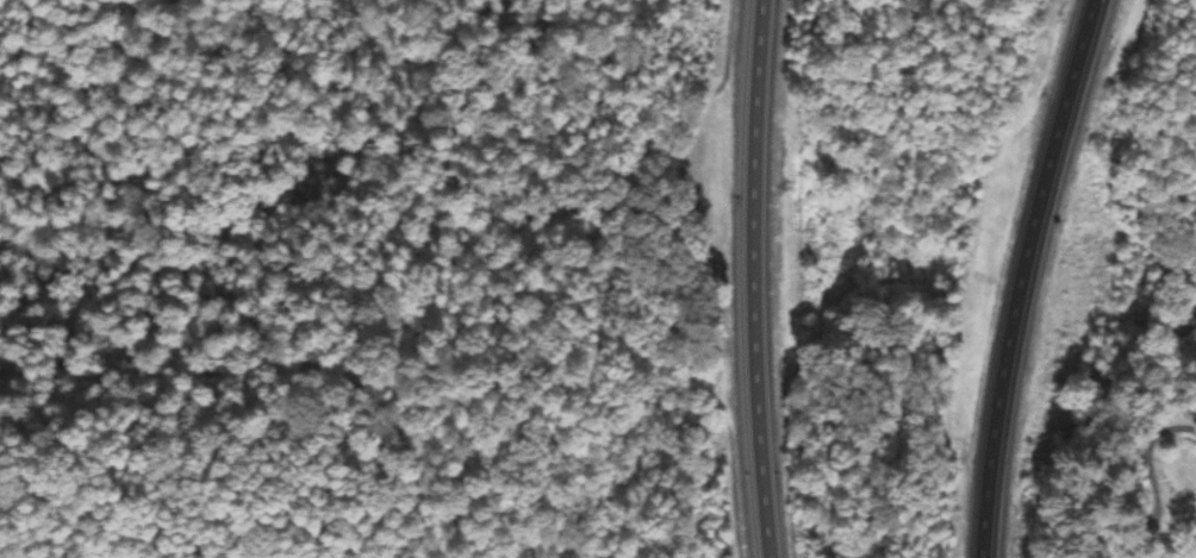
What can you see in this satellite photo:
road: (1021, 275)
road: (753, 278)
road: (1157, 445)

